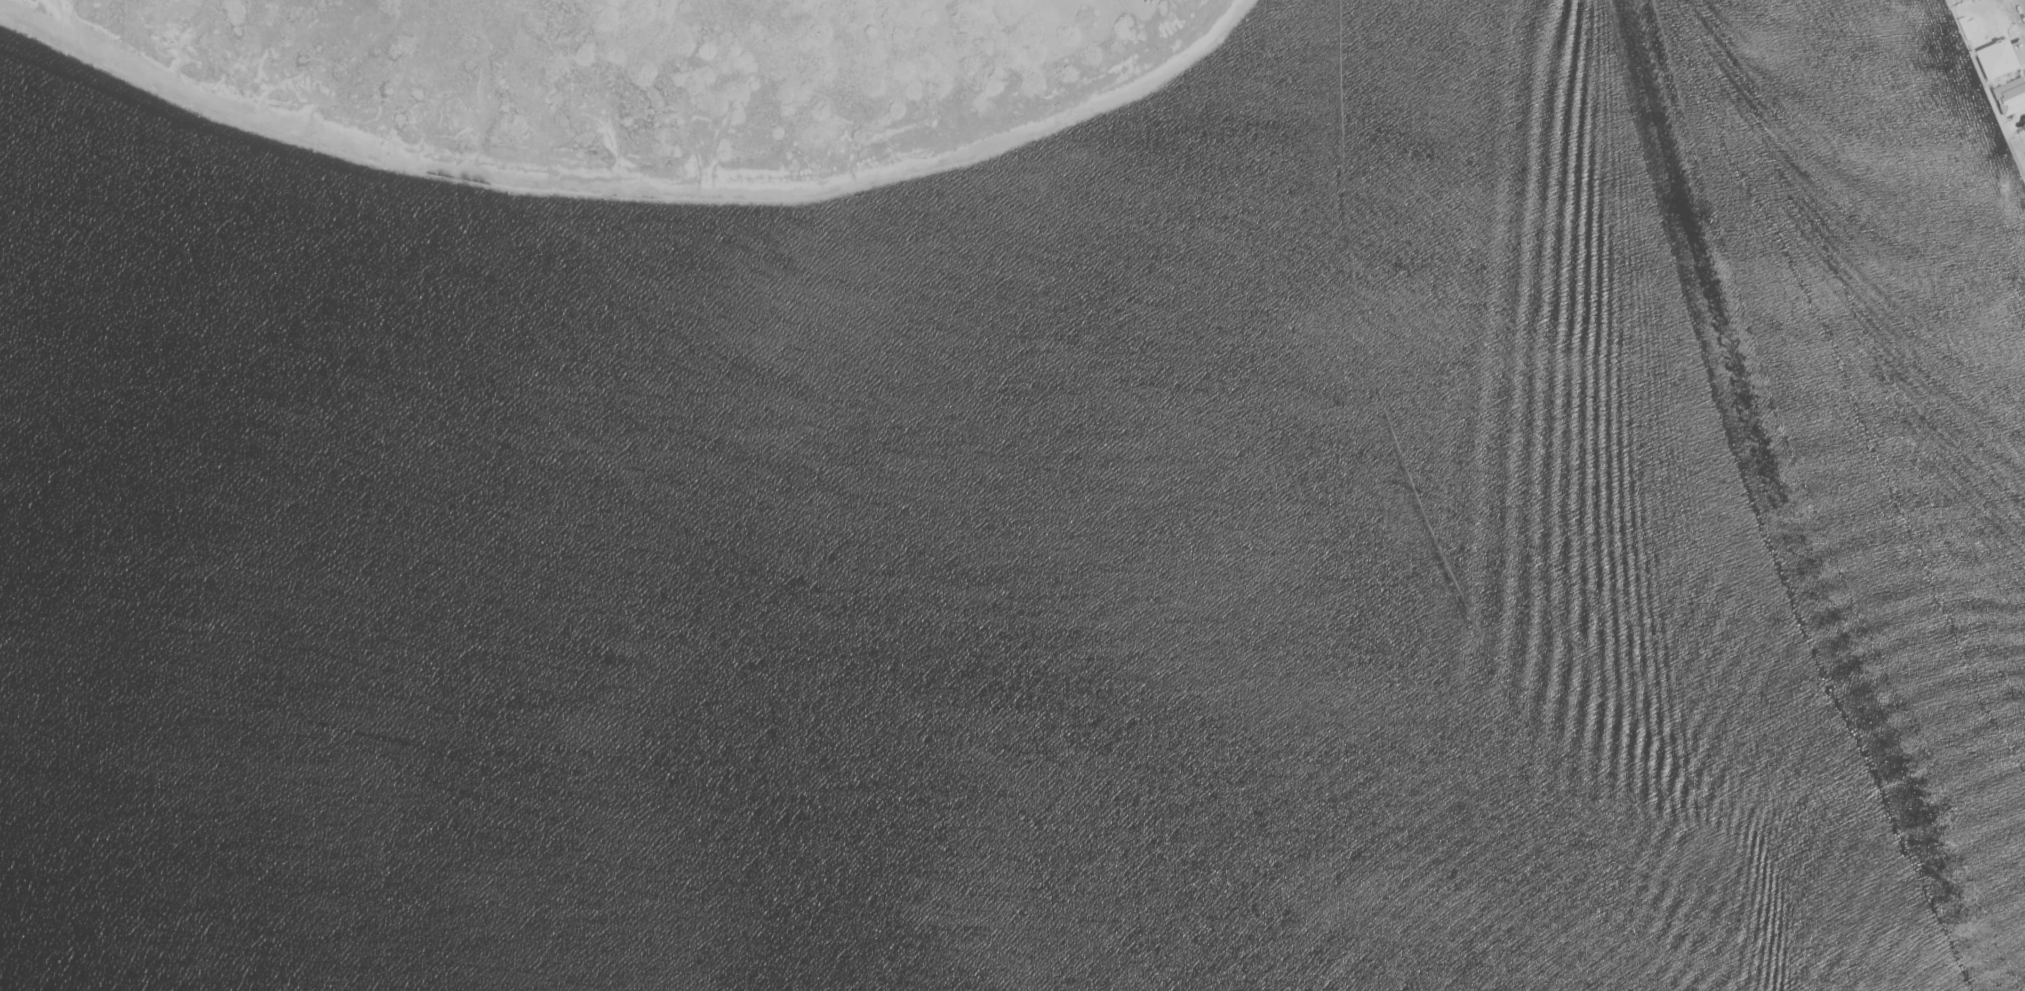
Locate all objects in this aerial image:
road: (2023, 3)
building: (1994, 57)
building: (2009, 95)

